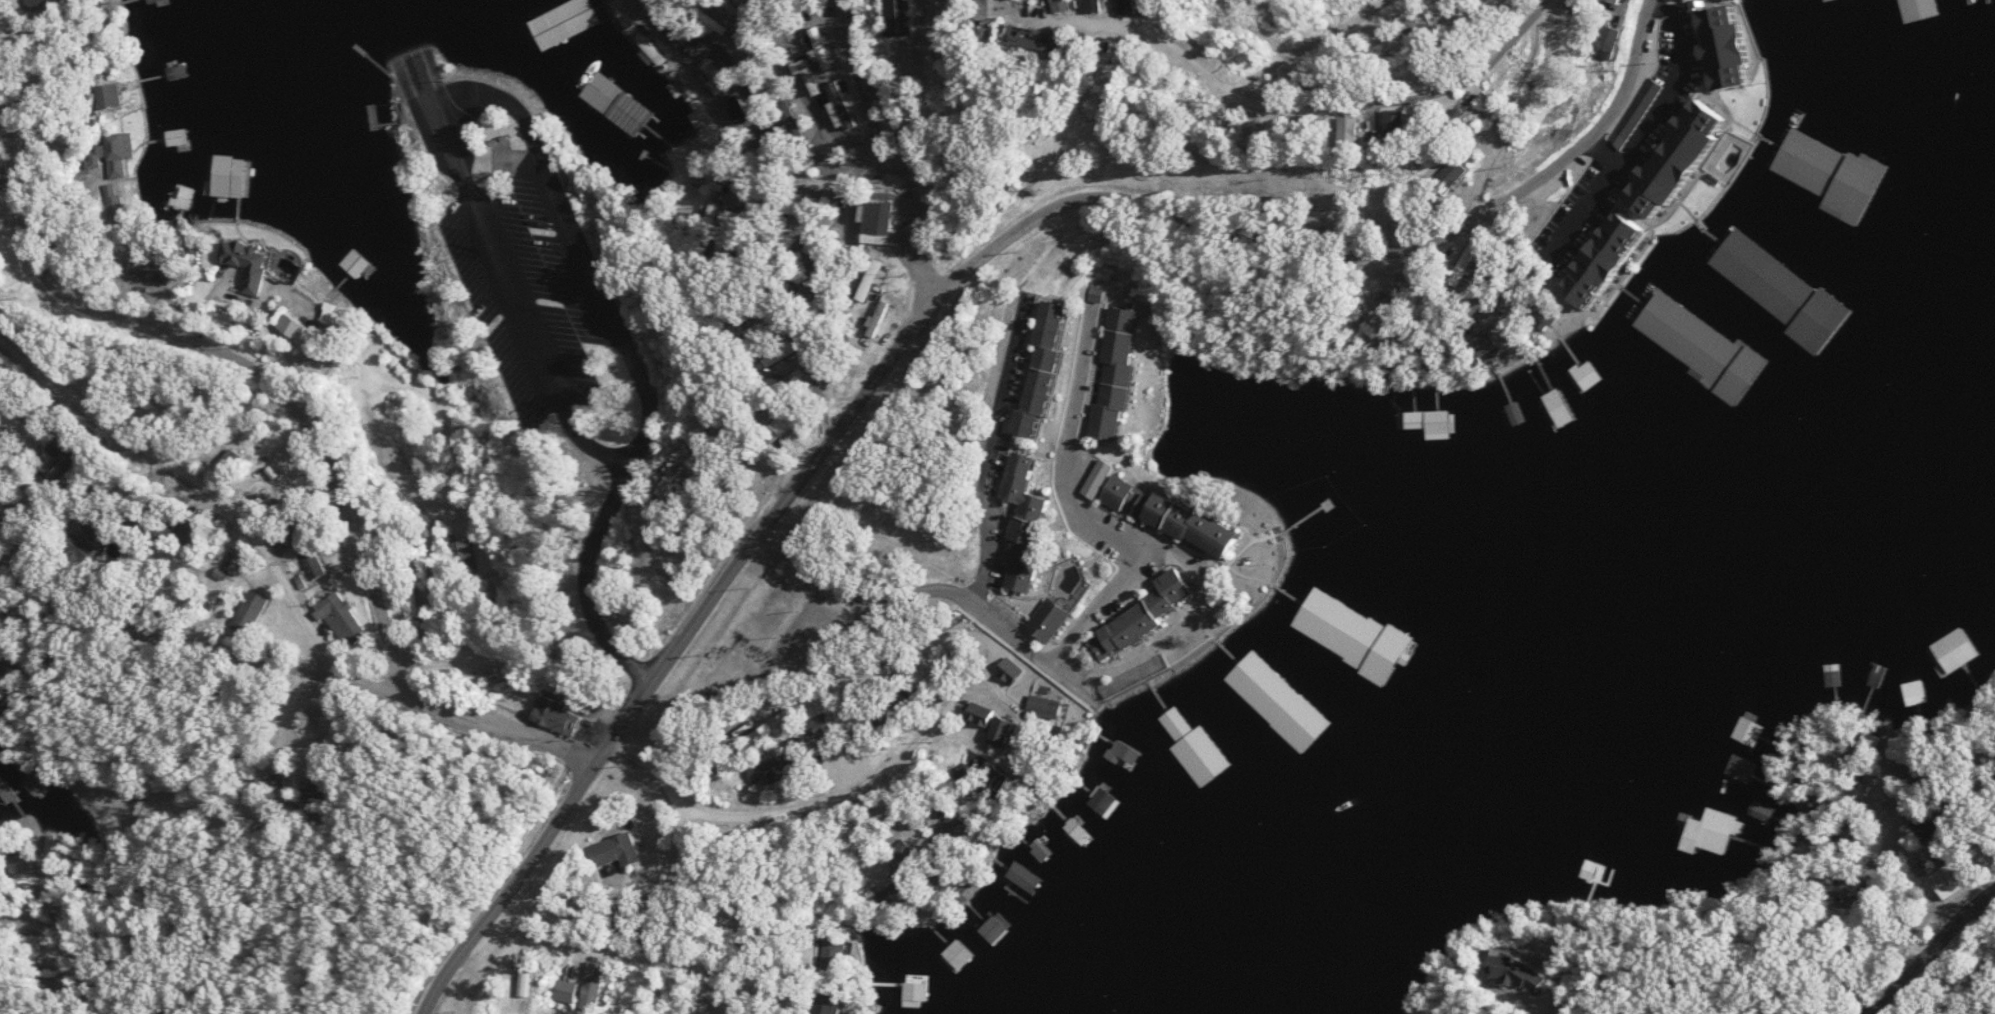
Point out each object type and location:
building: (1823, 0)
building: (156, 1)
road: (1548, 3)
building: (1083, 6)
building: (1115, 6)
building: (1151, 7)
building: (1924, 8)
building: (896, 17)
building: (1055, 39)
road: (1167, 45)
road: (1304, 46)
building: (1736, 48)
road: (424, 86)
road: (849, 86)
road: (1659, 93)
building: (119, 98)
road: (1400, 102)
road: (801, 105)
road: (1523, 117)
building: (699, 118)
building: (1414, 127)
building: (1369, 132)
building: (179, 137)
road: (896, 145)
building: (117, 152)
building: (1462, 173)
building: (1831, 177)
road: (1583, 199)
building: (290, 203)
building: (1656, 203)
building: (879, 222)
road: (577, 245)
road: (1319, 249)
building: (249, 260)
building: (357, 262)
building: (155, 271)
building: (873, 279)
building: (1784, 290)
road: (514, 299)
building: (5, 308)
road: (246, 320)
building: (1704, 348)
building: (1054, 366)
building: (1124, 370)
building: (1589, 373)
road: (232, 382)
building: (1513, 402)
building: (1569, 405)
building: (1551, 412)
building: (1431, 420)
building: (23, 424)
building: (400, 456)
road: (988, 463)
building: (1104, 478)
road: (202, 481)
building: (1125, 493)
building: (1035, 522)
building: (1204, 523)
building: (108, 526)
building: (193, 531)
building: (88, 547)
building: (461, 553)
building: (318, 565)
road: (430, 579)
road: (586, 581)
building: (259, 608)
building: (1156, 611)
building: (346, 616)
building: (1057, 618)
road: (1074, 637)
road: (188, 642)
building: (1333, 645)
building: (1949, 651)
road: (961, 660)
road: (665, 664)
building: (1829, 674)
building: (1875, 675)
building: (1379, 681)
building: (1915, 692)
building: (1279, 704)
building: (559, 715)
building: (1000, 721)
road: (103, 727)
road: (496, 727)
building: (1746, 730)
building: (1124, 749)
building: (1208, 752)
building: (1740, 767)
building: (763, 772)
road: (654, 775)
building: (37, 780)
building: (7, 790)
building: (1104, 801)
building: (1921, 828)
building: (1707, 831)
building: (618, 850)
building: (1592, 869)
building: (1027, 877)
building: (1948, 878)
building: (899, 894)
road: (1873, 908)
road: (680, 917)
building: (996, 929)
building: (838, 949)
road: (66, 950)
road: (1938, 958)
building: (1528, 972)
building: (907, 983)
building: (596, 985)
building: (568, 990)

